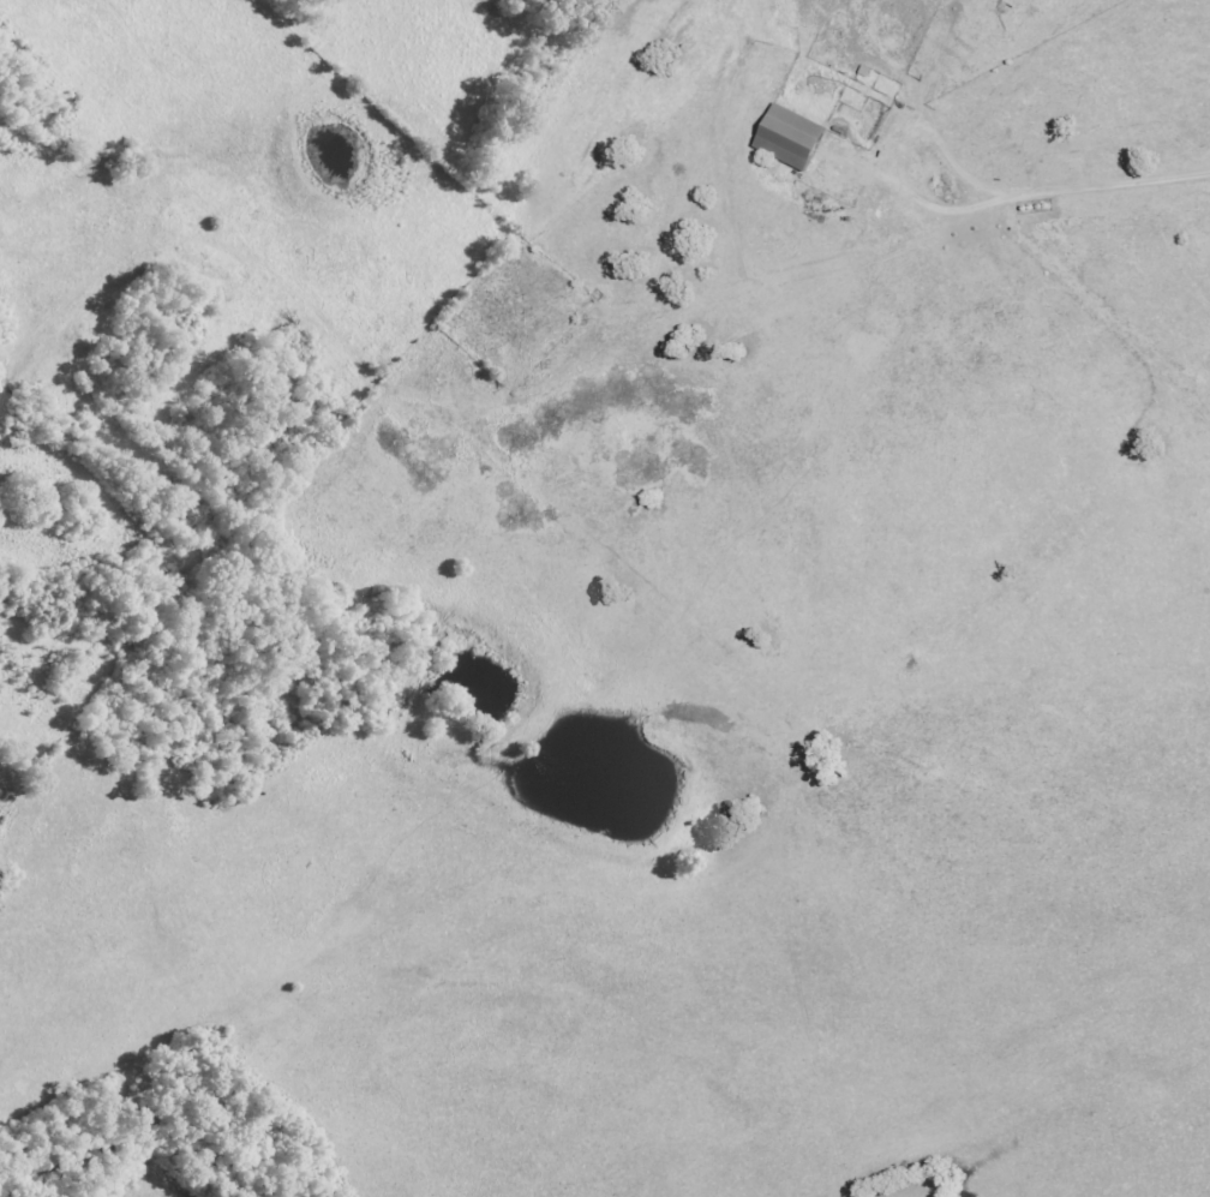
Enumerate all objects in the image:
road: (899, 134)
building: (793, 138)
road: (1101, 178)

